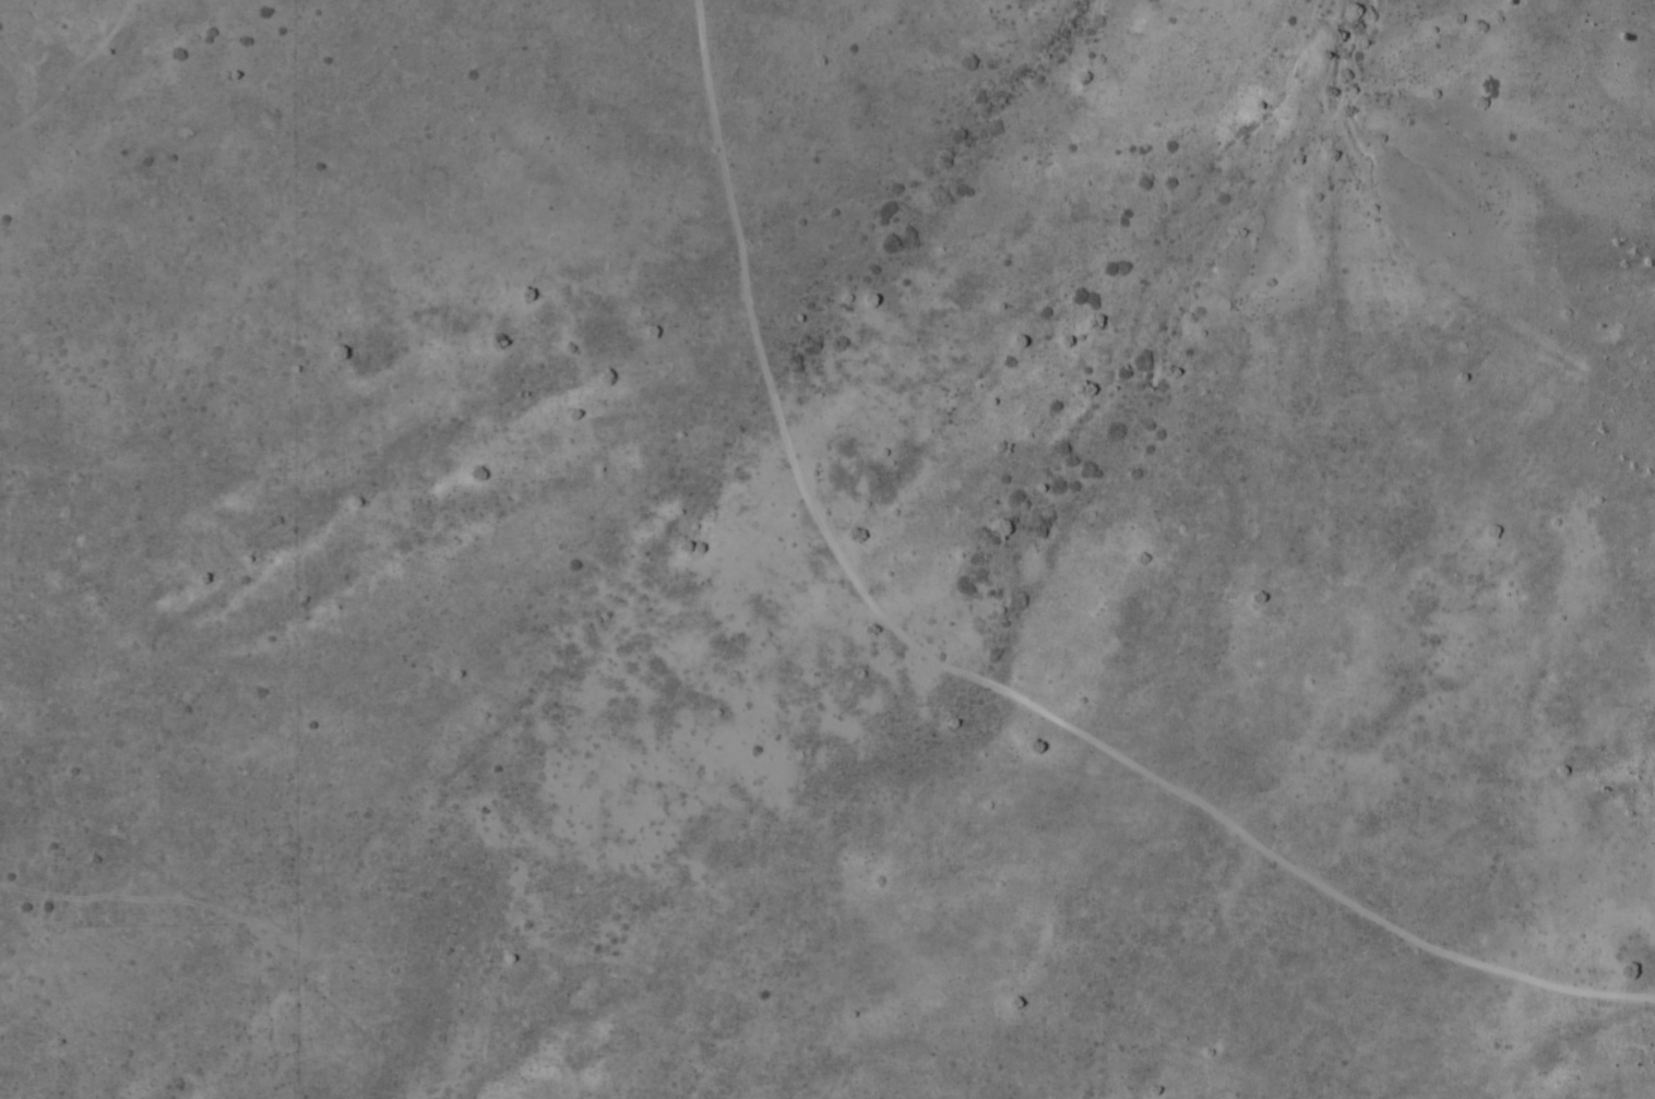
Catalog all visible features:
road: (832, 905)

